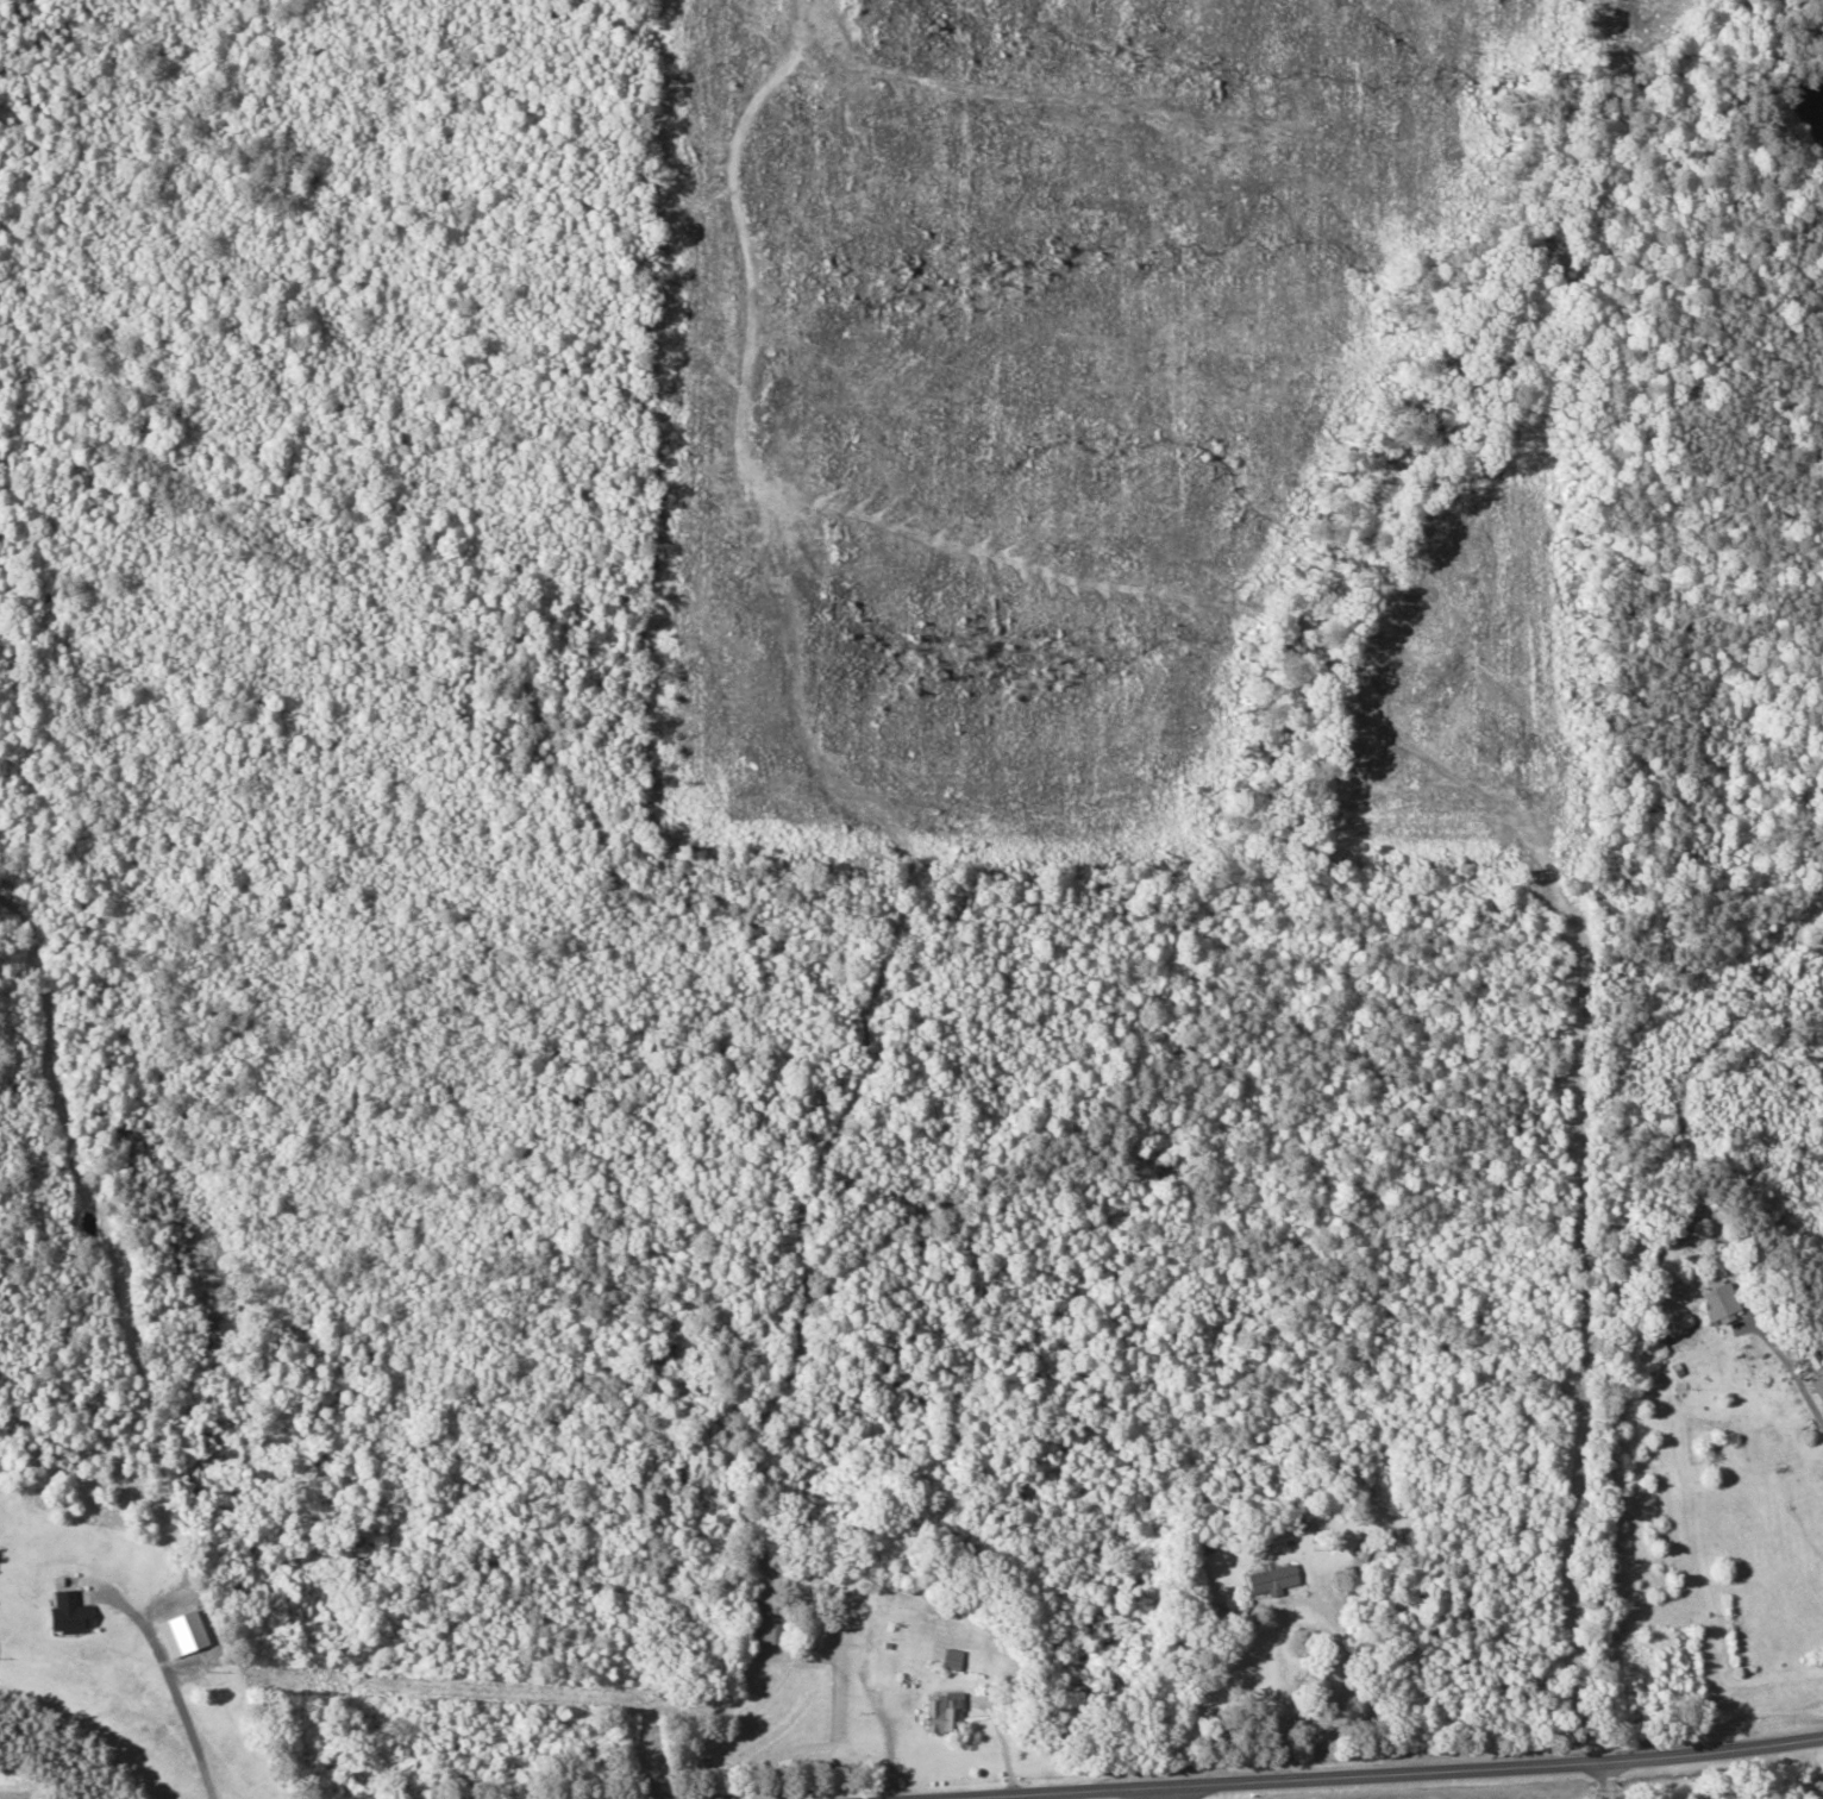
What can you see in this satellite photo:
building: (1722, 1303)
building: (1817, 1373)
building: (1364, 1548)
building: (1272, 1580)
building: (70, 1612)
building: (772, 1622)
building: (944, 1712)
road: (1498, 1779)
road: (1559, 1787)

